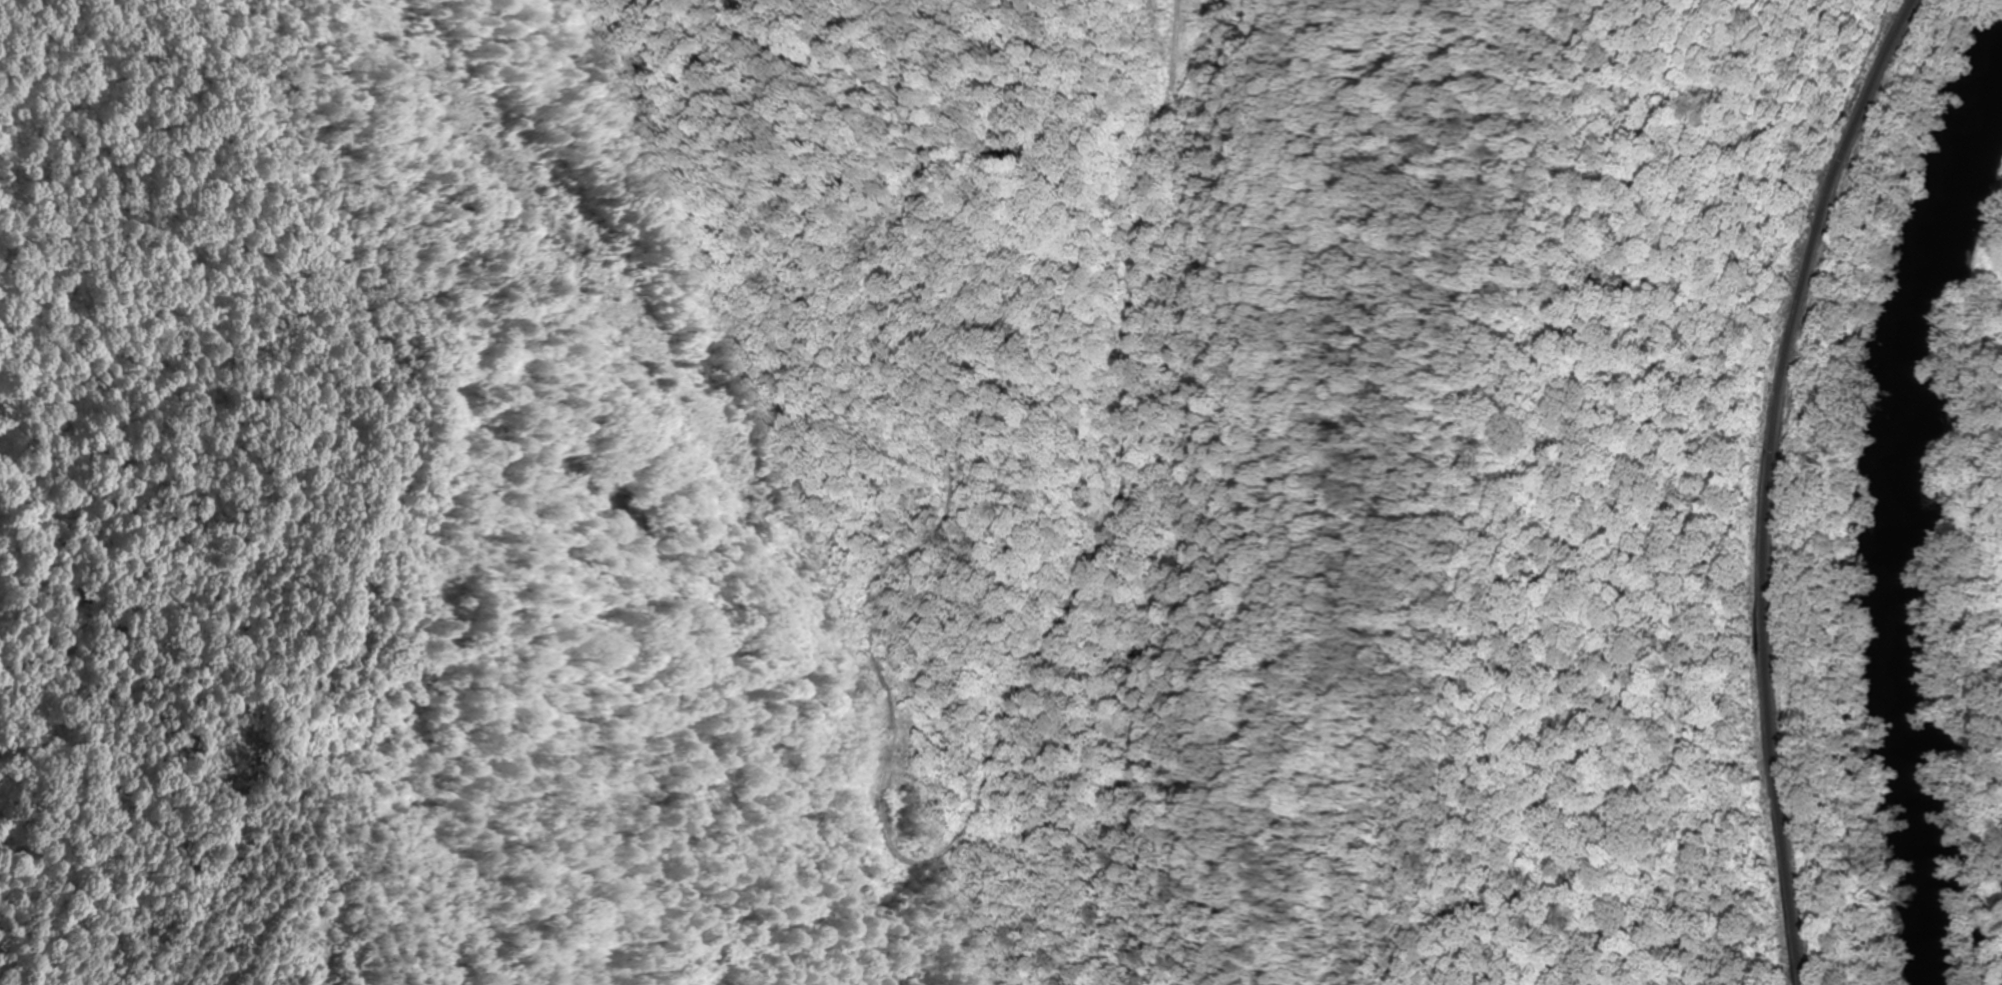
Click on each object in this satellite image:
railway: (1779, 485)
river: (1907, 523)

